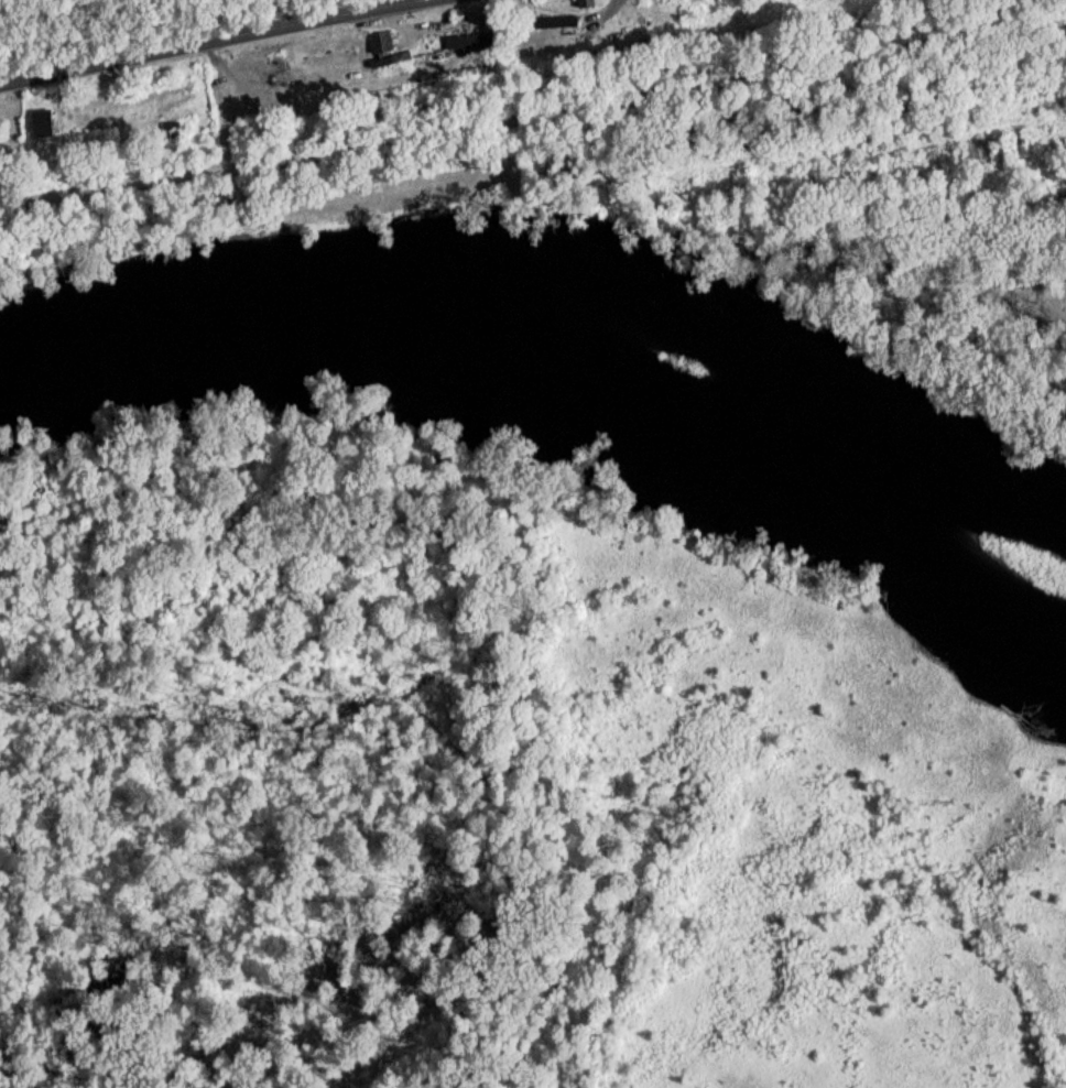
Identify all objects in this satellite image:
building: (552, 28)
road: (213, 43)
building: (463, 47)
building: (377, 48)
road: (532, 116)
building: (37, 128)
river: (566, 382)

